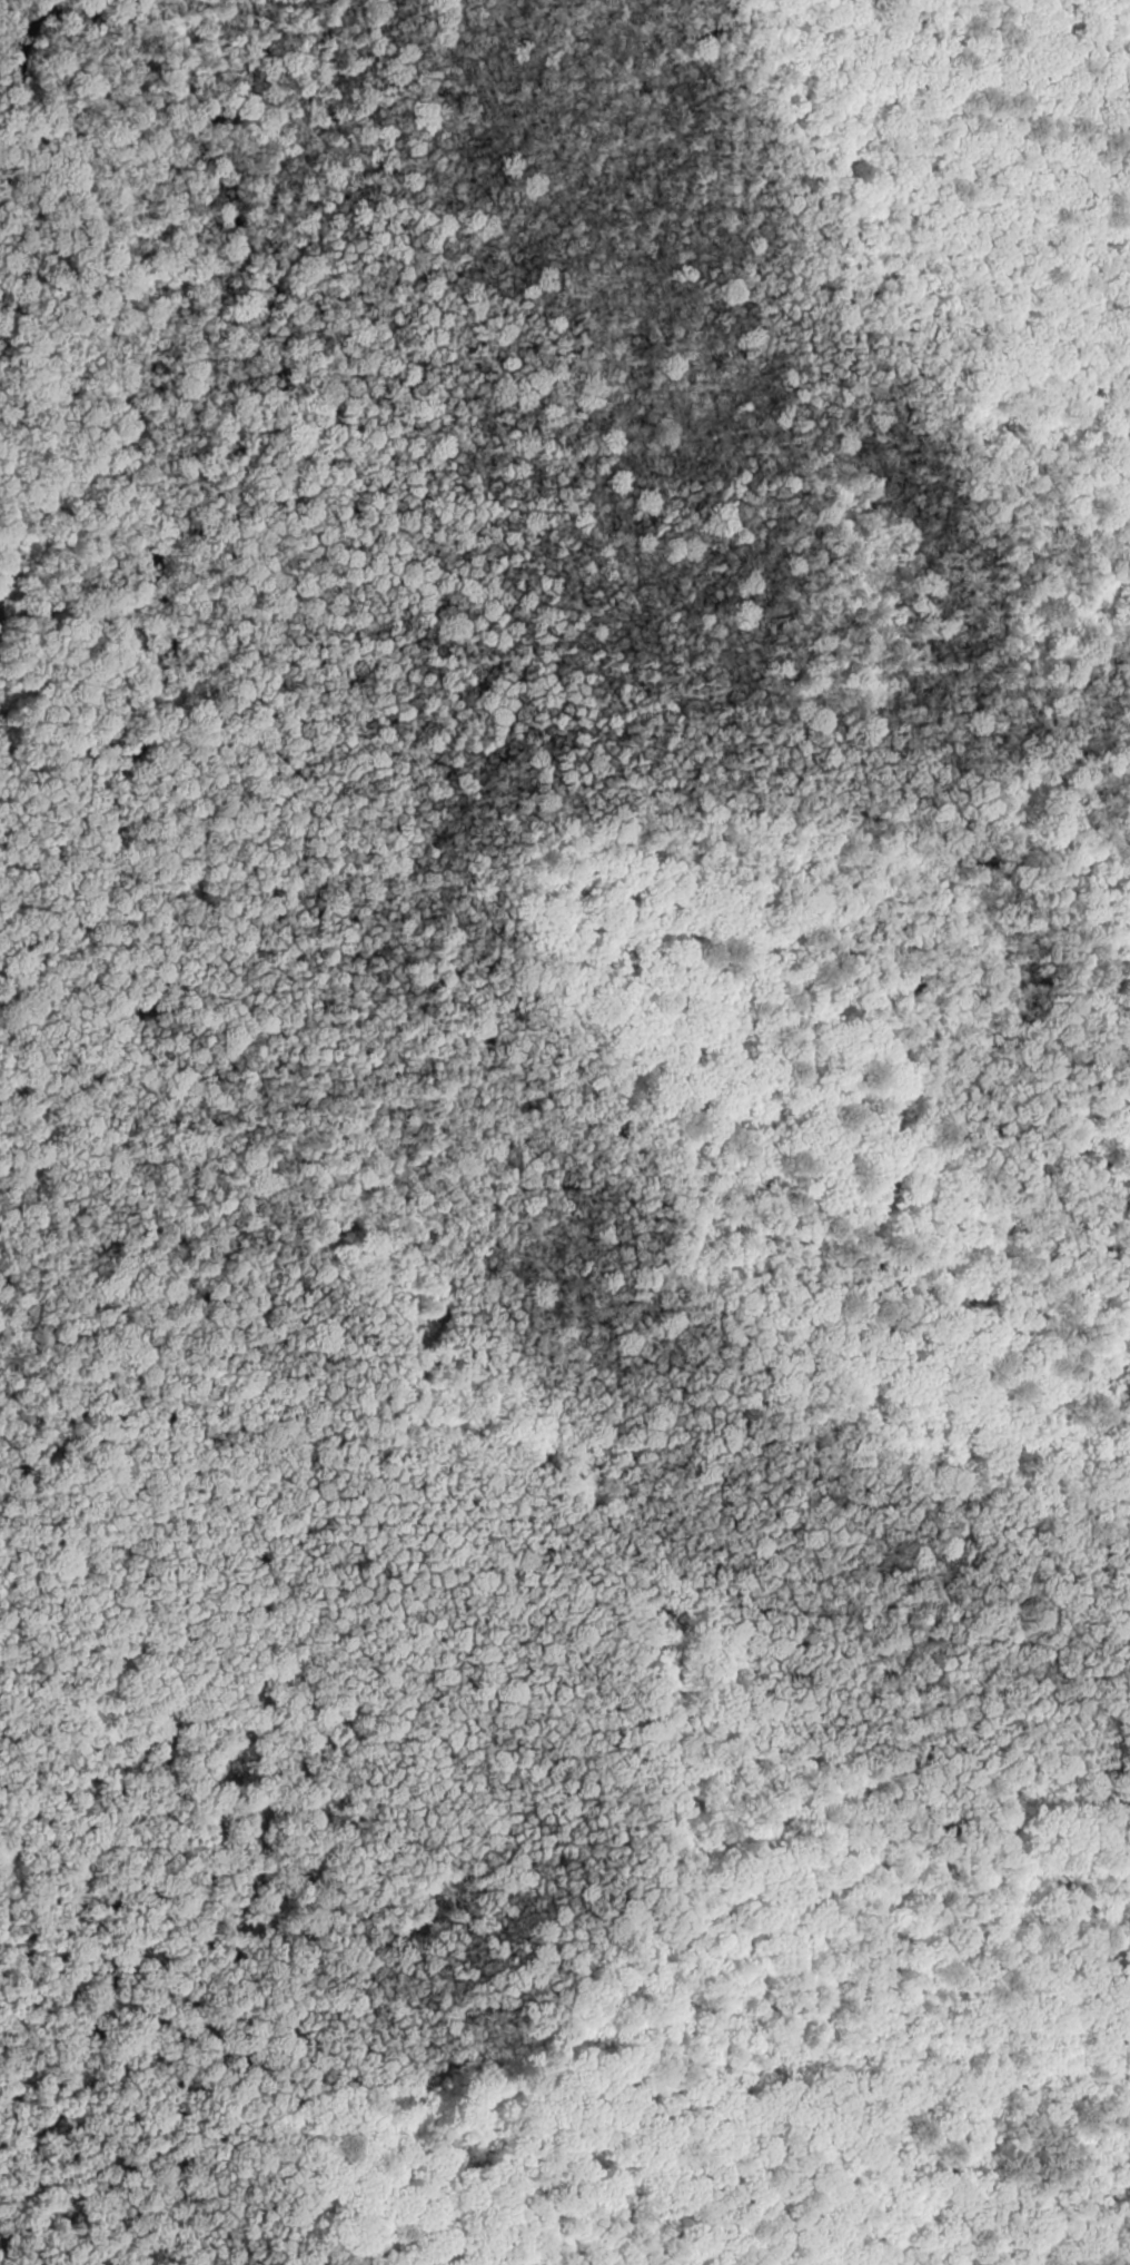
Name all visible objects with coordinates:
park: (565, 1132)

